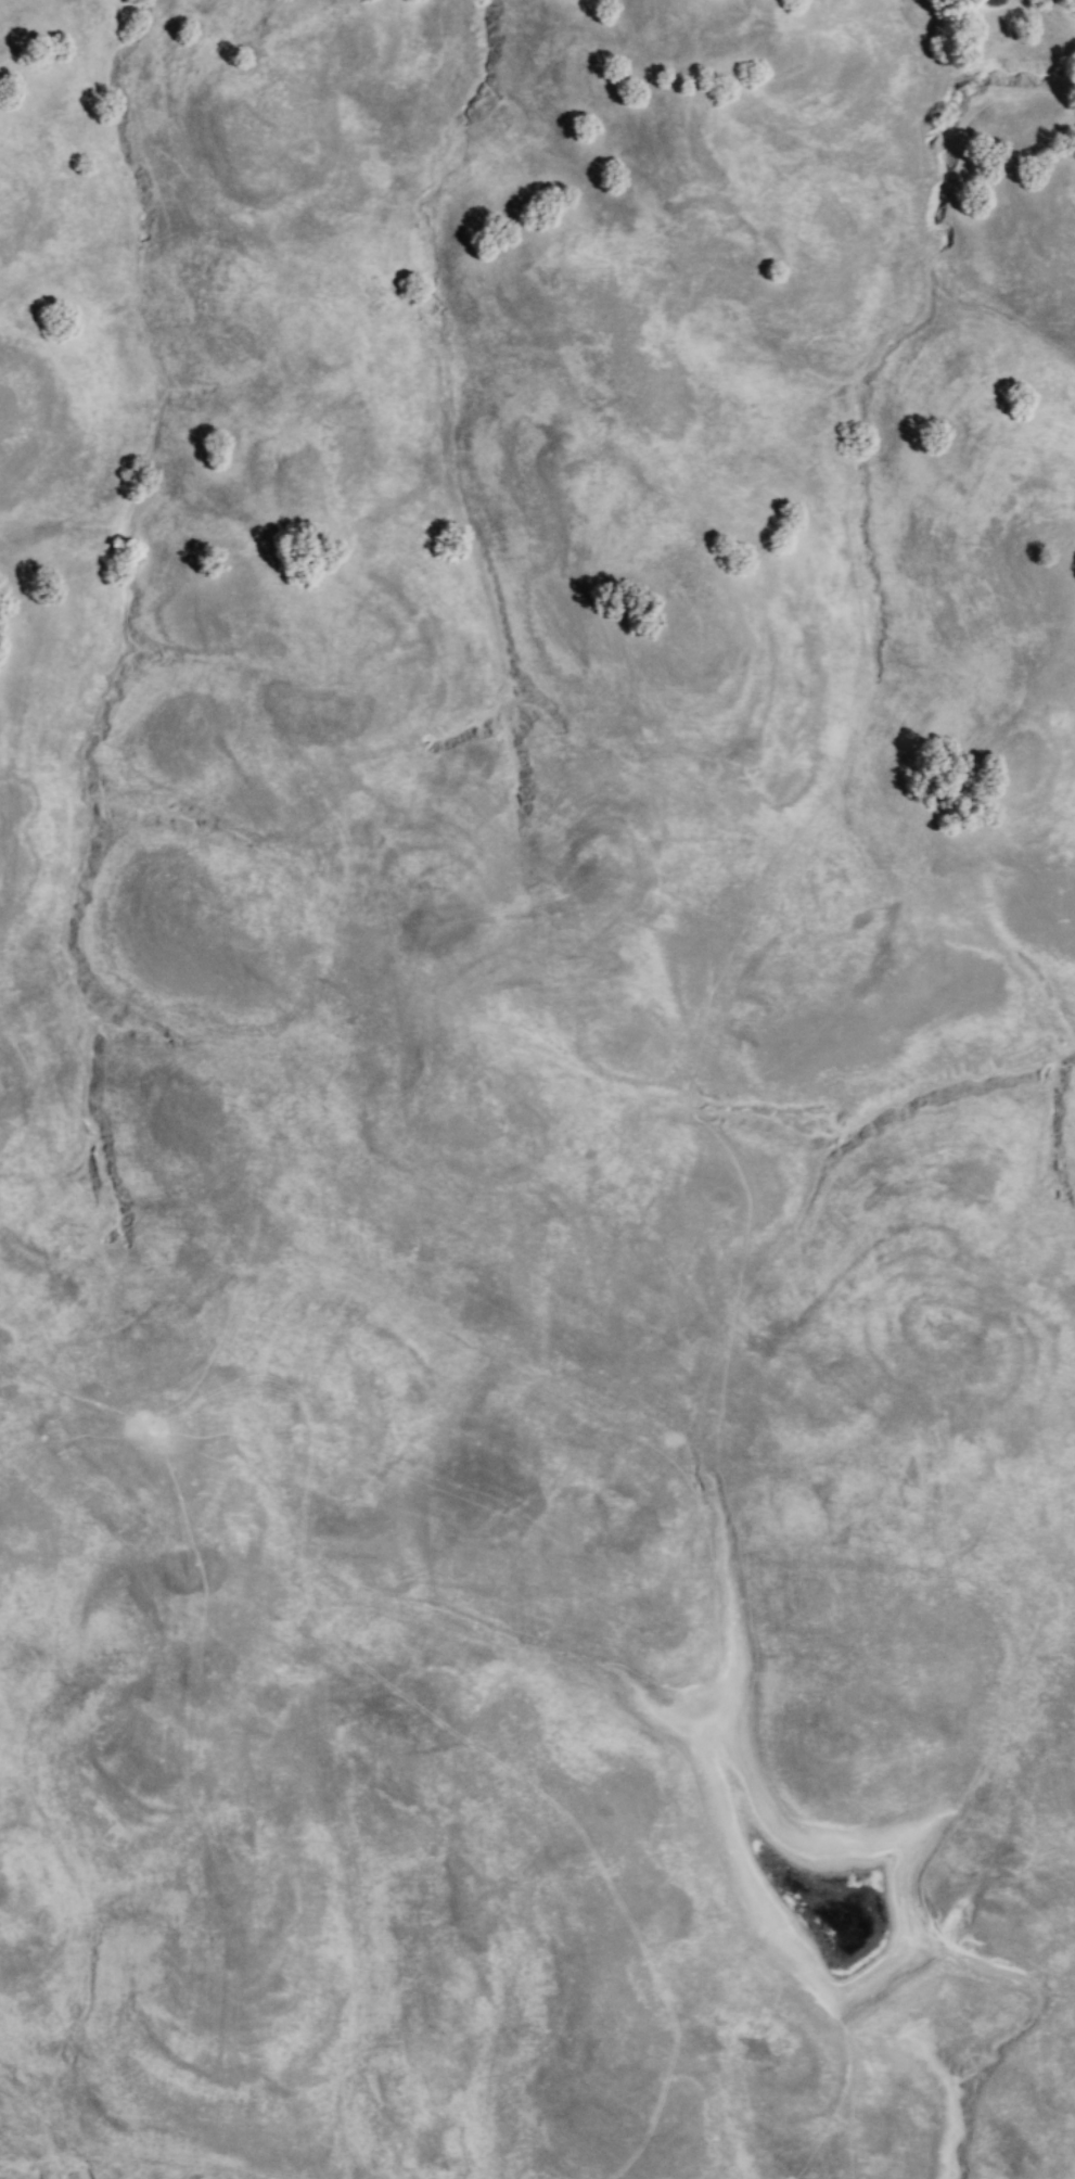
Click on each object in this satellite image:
dam: (872, 1976)

